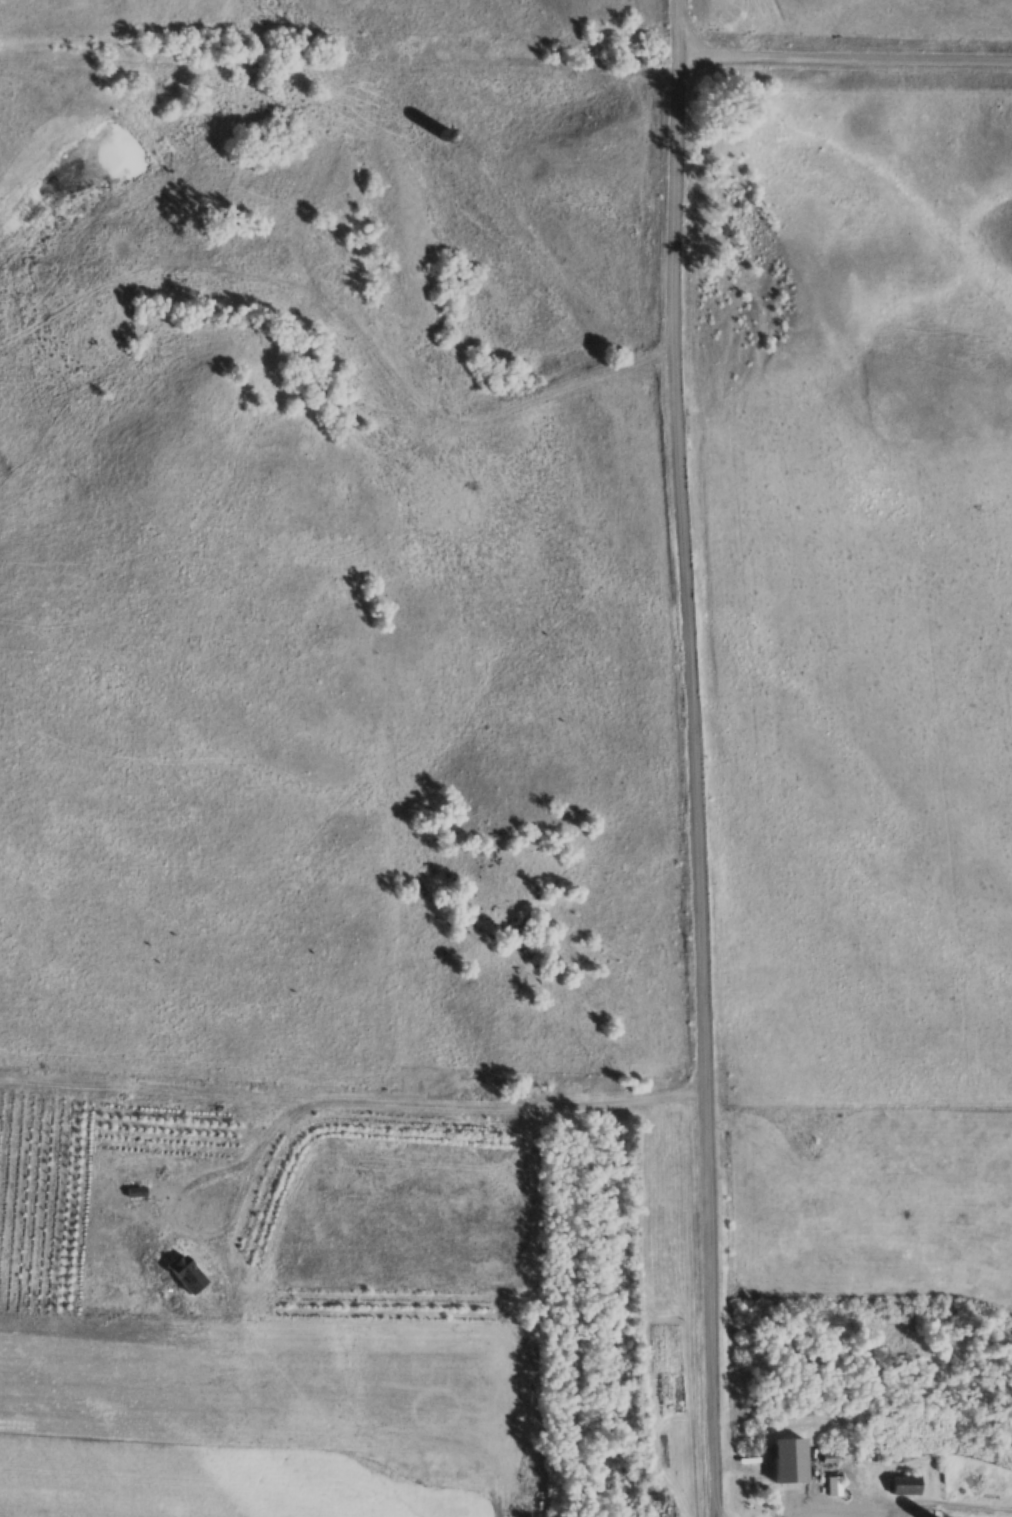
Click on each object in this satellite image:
road: (849, 62)
building: (447, 135)
building: (269, 260)
road: (450, 420)
road: (700, 758)
building: (791, 1462)
building: (906, 1486)
building: (834, 1487)
road: (857, 1511)

